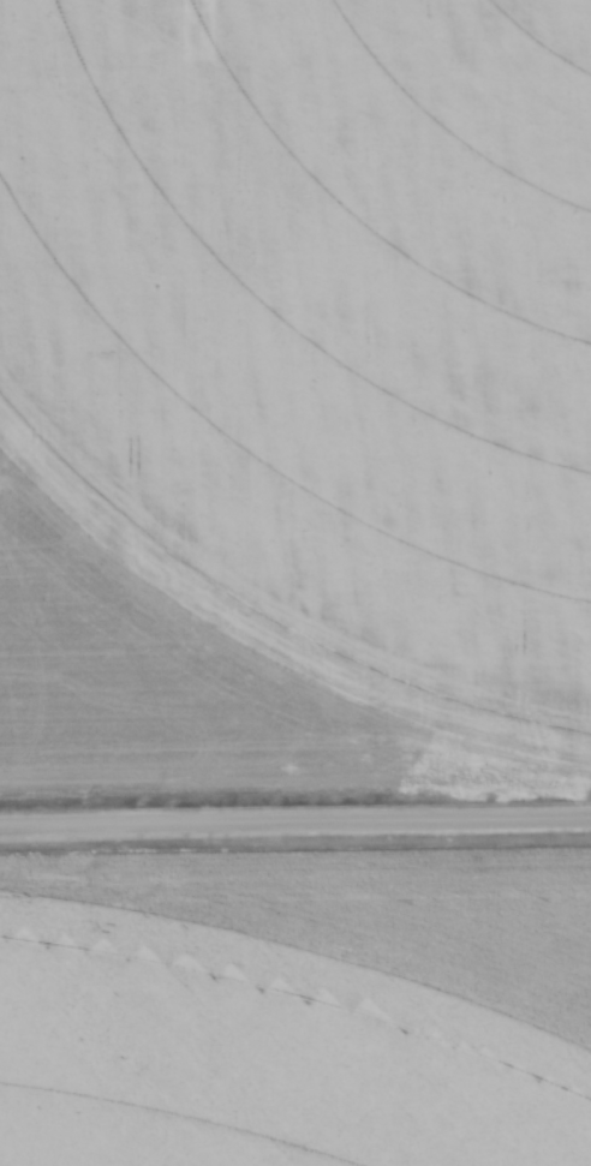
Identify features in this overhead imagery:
road: (294, 823)

